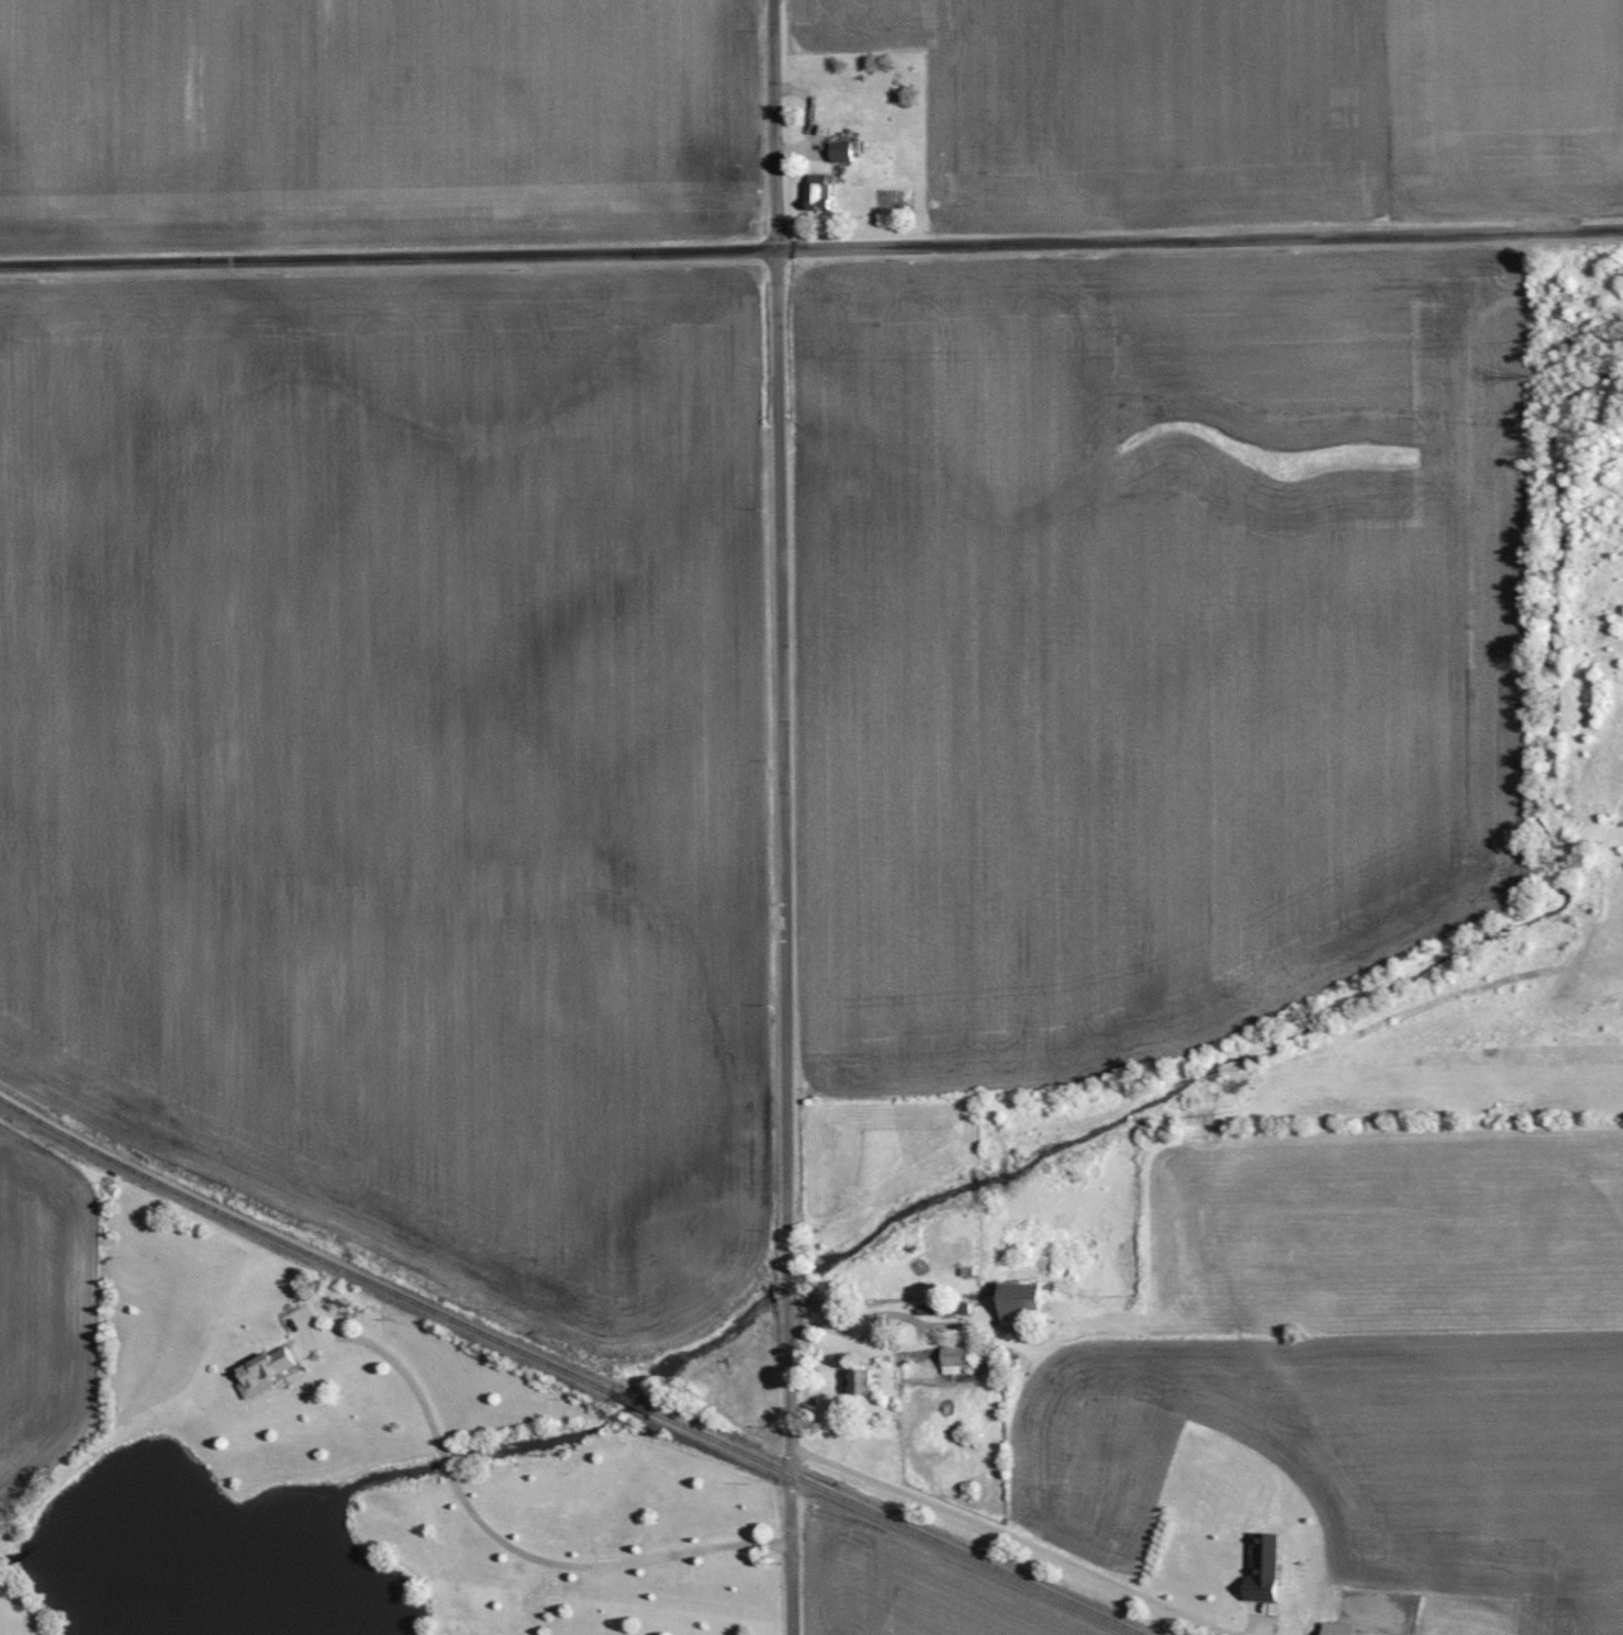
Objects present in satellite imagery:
building: (846, 150)
building: (827, 191)
road: (811, 245)
road: (781, 817)
building: (1030, 1303)
building: (962, 1359)
building: (272, 1370)
railway: (569, 1370)
building: (866, 1381)
road: (499, 1535)
road: (1017, 1536)
building: (1269, 1567)

